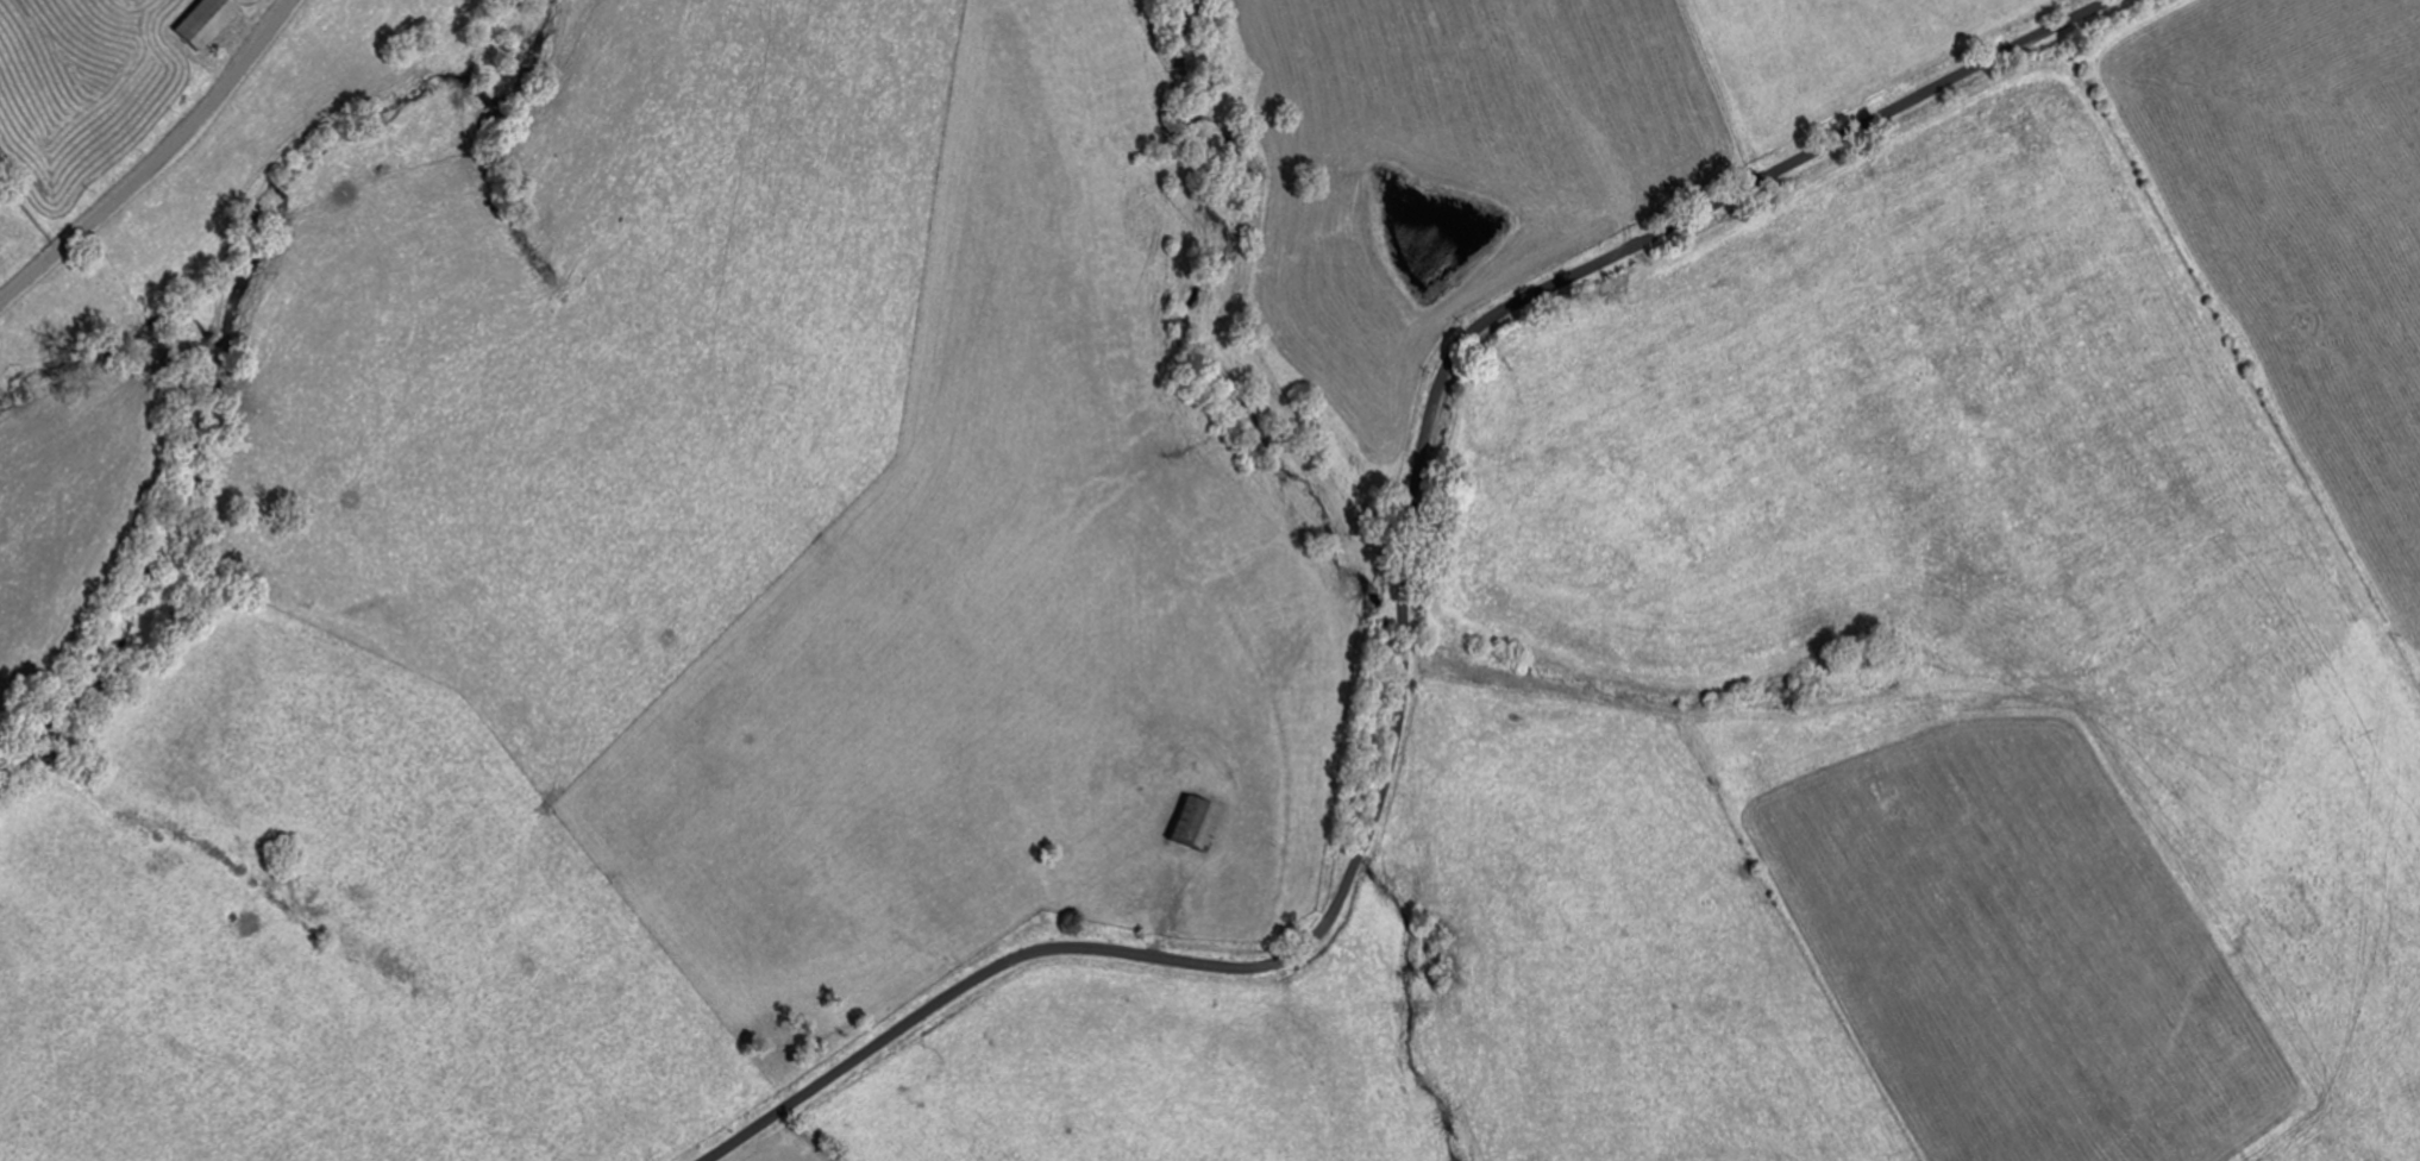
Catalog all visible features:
building: (207, 20)
road: (156, 161)
road: (1404, 620)
building: (1196, 821)

